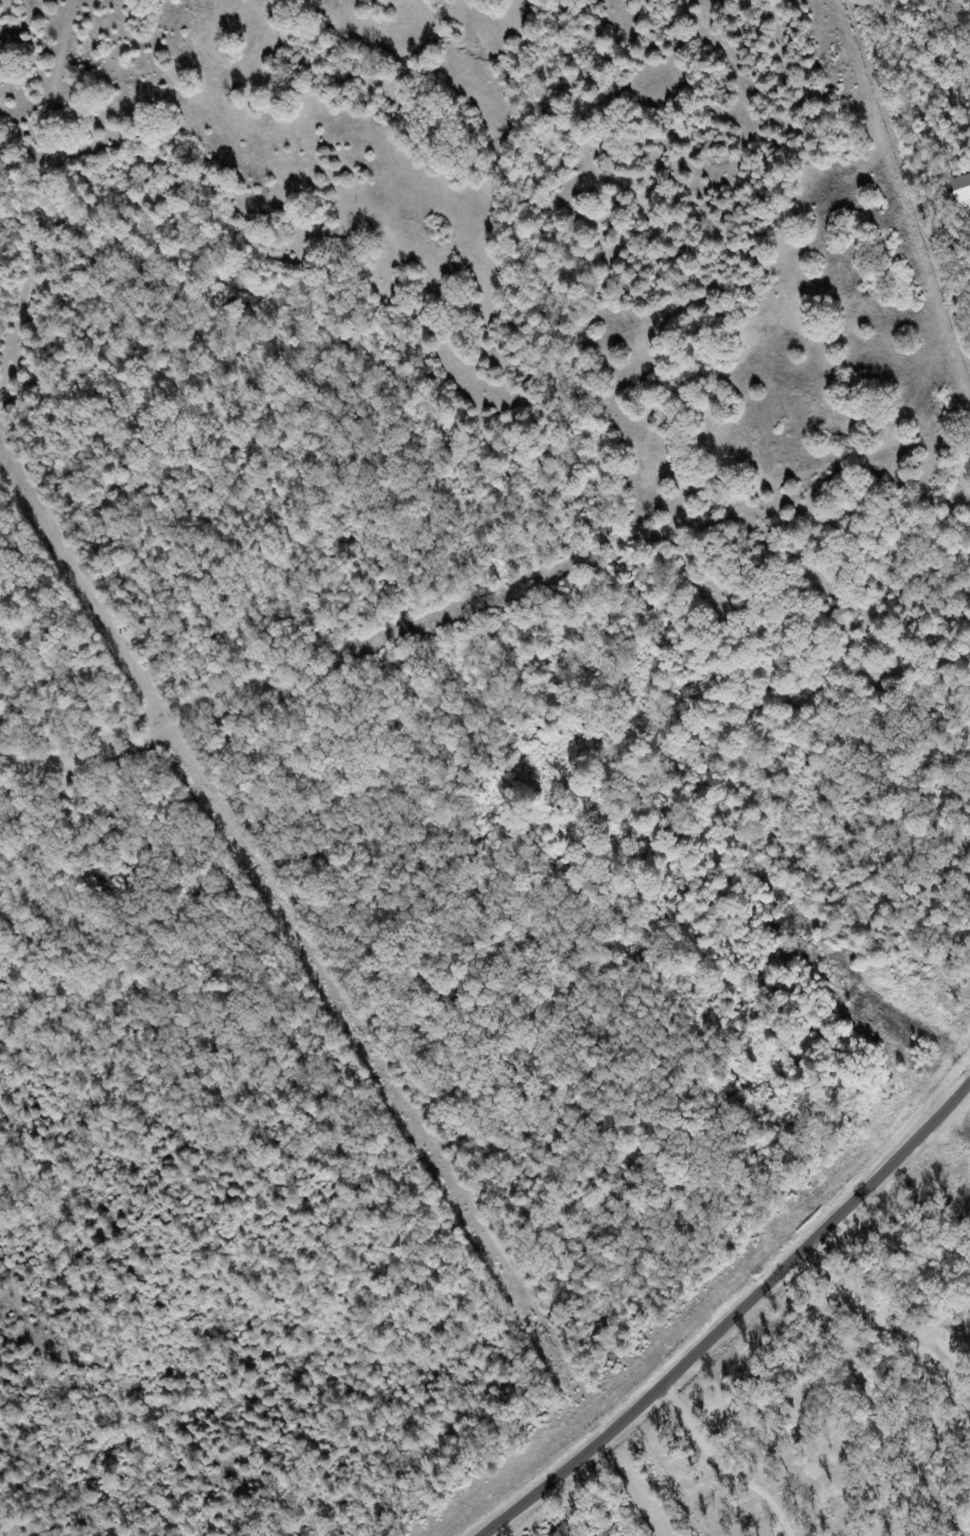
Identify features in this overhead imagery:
building: (962, 183)
road: (734, 1316)
road: (723, 1466)

